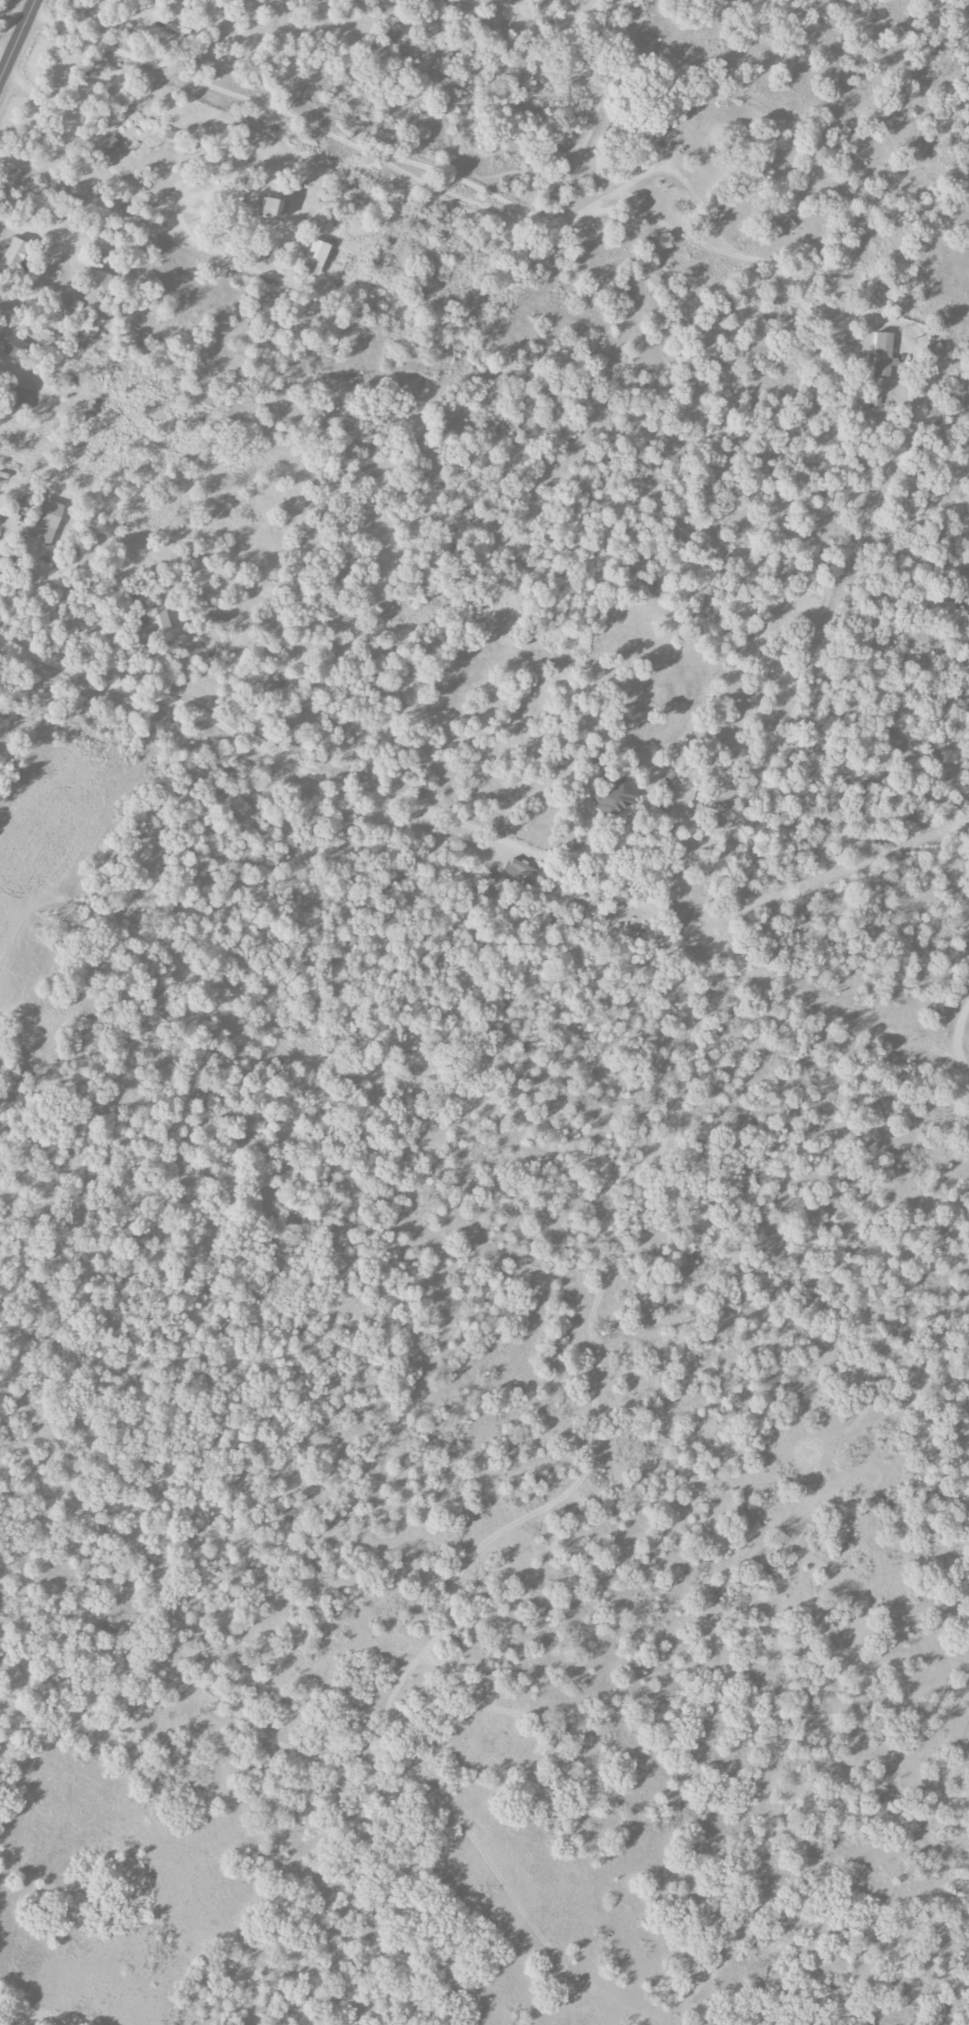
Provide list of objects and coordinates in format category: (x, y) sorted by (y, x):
building: (185, 0)
road: (18, 39)
road: (4, 60)
building: (111, 144)
road: (461, 181)
building: (272, 208)
road: (26, 231)
building: (316, 253)
building: (15, 254)
building: (14, 347)
building: (882, 355)
building: (45, 522)
building: (159, 621)
road: (263, 752)
building: (616, 797)
building: (519, 871)
road: (838, 1014)
road: (955, 1034)

